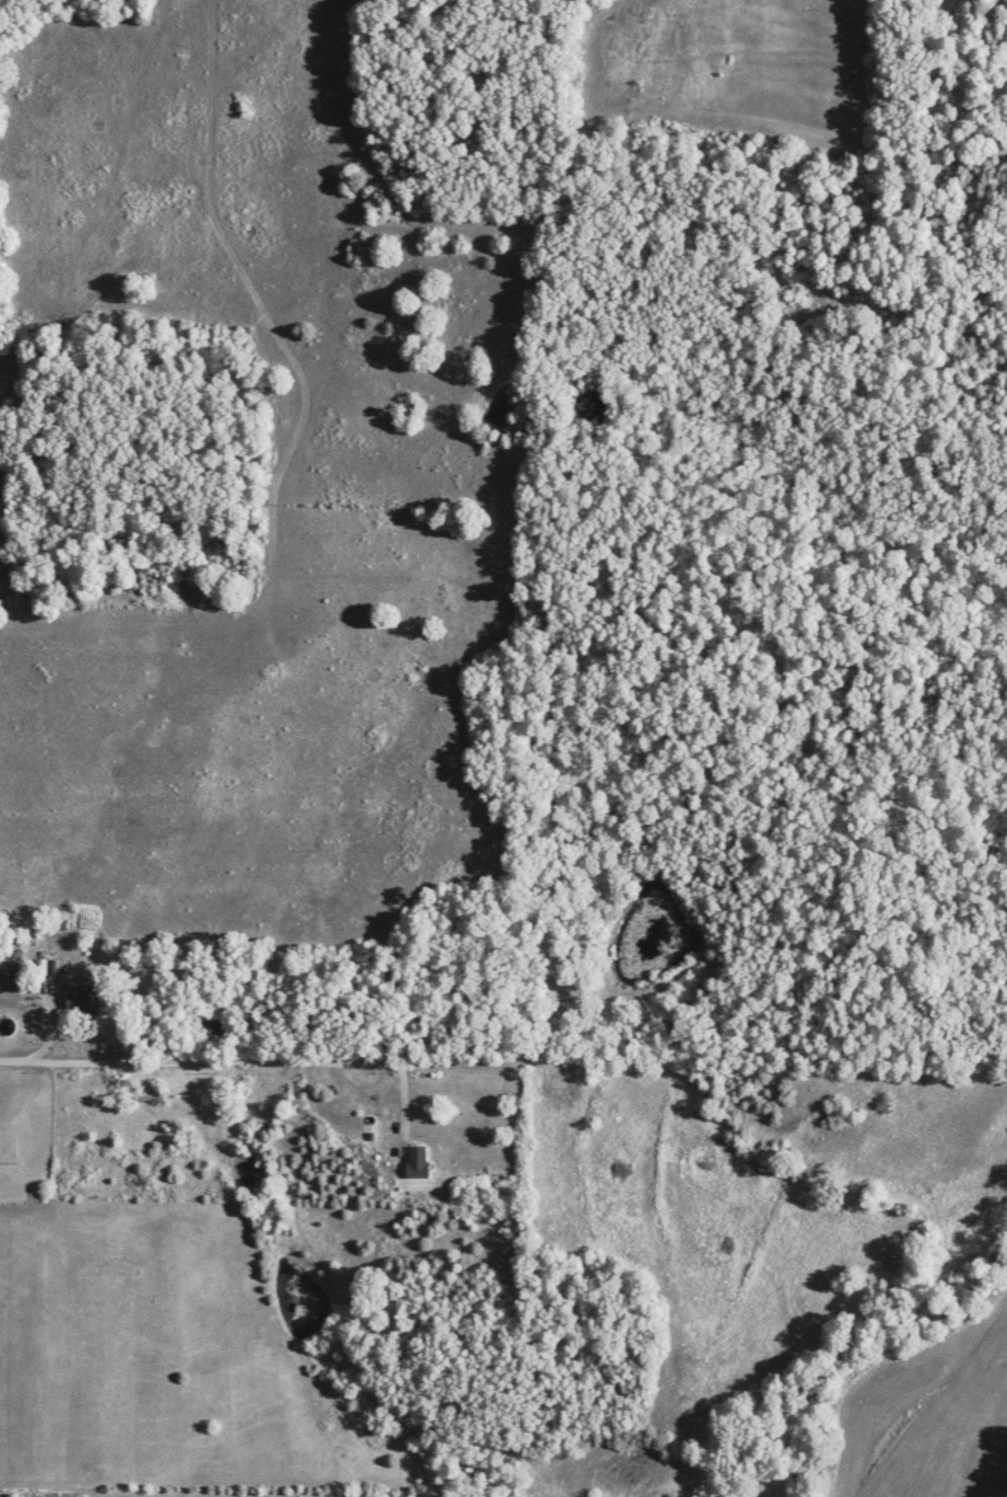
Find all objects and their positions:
building: (83, 995)
road: (200, 1056)
road: (35, 1102)
building: (418, 1160)

